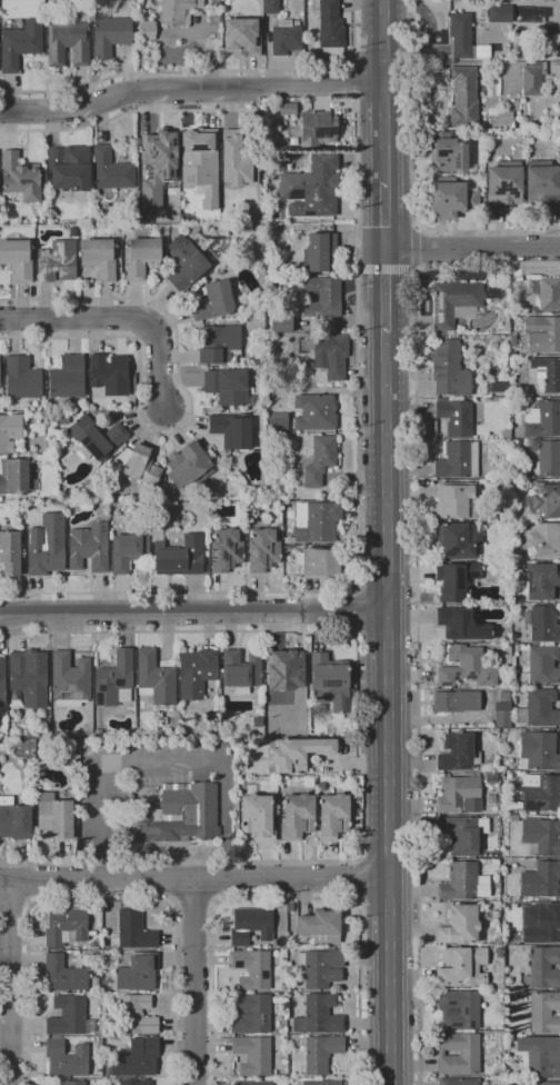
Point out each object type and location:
building: (271, 7)
building: (178, 11)
building: (483, 13)
building: (500, 13)
building: (214, 17)
building: (330, 24)
building: (109, 33)
building: (147, 33)
building: (242, 37)
building: (287, 37)
building: (464, 39)
building: (68, 43)
building: (20, 44)
road: (208, 71)
building: (532, 77)
road: (353, 79)
road: (190, 90)
road: (384, 90)
building: (463, 97)
building: (287, 107)
road: (128, 115)
building: (501, 119)
building: (318, 129)
building: (487, 132)
building: (527, 133)
rooftop solar panel: (197, 147)
rooftop solar panel: (441, 152)
building: (448, 152)
building: (233, 159)
building: (278, 161)
building: (200, 165)
building: (156, 166)
building: (69, 168)
building: (110, 169)
building: (19, 178)
building: (503, 185)
building: (542, 185)
building: (307, 186)
road: (412, 186)
rooftop solar panel: (500, 188)
building: (450, 198)
road: (384, 215)
building: (72, 231)
road: (360, 243)
road: (416, 248)
road: (471, 249)
building: (320, 252)
building: (141, 256)
building: (99, 257)
building: (17, 258)
building: (57, 261)
building: (186, 266)
road: (387, 268)
building: (220, 271)
road: (384, 289)
building: (547, 292)
building: (321, 298)
building: (213, 301)
building: (456, 303)
road: (117, 318)
building: (281, 322)
building: (542, 334)
building: (512, 341)
building: (220, 345)
building: (331, 357)
building: (449, 369)
building: (547, 372)
building: (109, 374)
building: (21, 378)
building: (67, 378)
building: (500, 386)
building: (228, 387)
building: (91, 408)
building: (316, 412)
road: (189, 416)
building: (456, 416)
building: (542, 419)
building: (278, 422)
building: (231, 430)
building: (10, 432)
building: (96, 438)
building: (320, 459)
building: (547, 459)
building: (458, 460)
building: (116, 464)
building: (188, 464)
building: (141, 466)
building: (16, 477)
building: (0, 499)
building: (457, 500)
building: (543, 501)
road: (358, 519)
building: (317, 521)
rooftop solar panel: (217, 539)
building: (288, 540)
building: (457, 540)
building: (547, 540)
rooftop solar panel: (224, 542)
building: (46, 546)
building: (89, 547)
rooftop solar panel: (213, 550)
building: (226, 550)
building: (262, 550)
rooftop solar panel: (450, 550)
building: (128, 551)
building: (10, 553)
rooftop solar panel: (237, 553)
building: (178, 555)
rooftop solar panel: (213, 556)
rooftop solar panel: (222, 556)
building: (319, 563)
rooftop solar panel: (472, 575)
rooftop solar panel: (459, 576)
building: (454, 580)
rooftop solar panel: (528, 581)
building: (543, 581)
road: (384, 593)
road: (417, 605)
road: (353, 610)
road: (193, 611)
rooftop solar panel: (442, 619)
building: (461, 624)
building: (541, 624)
road: (384, 630)
rooftop solar panel: (476, 636)
building: (541, 666)
building: (466, 667)
building: (241, 669)
building: (286, 670)
building: (197, 673)
rooftop solar panel: (456, 675)
building: (30, 677)
rooftop solar panel: (469, 677)
building: (156, 678)
building: (70, 680)
building: (114, 680)
building: (2, 683)
rooftop solar panel: (119, 683)
rooftop solar panel: (329, 683)
building: (330, 683)
rooftop solar panel: (443, 686)
rooftop solar panel: (101, 689)
building: (504, 696)
rooftop solar panel: (98, 699)
building: (16, 700)
building: (457, 701)
road: (388, 708)
building: (539, 709)
building: (502, 715)
building: (39, 728)
building: (99, 733)
building: (80, 745)
road: (360, 748)
building: (538, 750)
building: (300, 753)
building: (458, 753)
road: (161, 762)
building: (491, 778)
building: (459, 794)
building: (542, 795)
building: (356, 799)
rooftop solar panel: (530, 803)
building: (512, 810)
building: (332, 815)
building: (54, 816)
building: (179, 816)
building: (257, 816)
building: (358, 816)
building: (297, 817)
building: (513, 818)
building: (14, 819)
building: (462, 834)
building: (542, 836)
road: (389, 858)
road: (159, 880)
road: (358, 880)
building: (541, 880)
road: (194, 882)
road: (212, 883)
building: (463, 883)
road: (28, 884)
building: (497, 885)
road: (286, 898)
road: (387, 898)
road: (101, 899)
road: (193, 904)
road: (16, 905)
building: (289, 907)
building: (496, 914)
building: (541, 923)
building: (250, 925)
building: (459, 925)
building: (66, 926)
building: (320, 926)
building: (133, 932)
building: (499, 953)
building: (103, 958)
building: (320, 967)
building: (462, 967)
building: (543, 968)
building: (252, 969)
building: (138, 973)
building: (68, 975)
road: (9, 983)
road: (194, 983)
building: (283, 987)
building: (281, 995)
building: (459, 1008)
building: (544, 1012)
building: (251, 1014)
building: (136, 1015)
building: (319, 1015)
building: (69, 1016)
building: (321, 1053)
building: (458, 1054)
building: (252, 1055)
building: (541, 1056)
building: (66, 1058)
building: (134, 1058)
building: (459, 1082)
building: (73, 1083)
building: (136, 1083)
building: (253, 1083)
building: (321, 1083)
building: (542, 1083)

